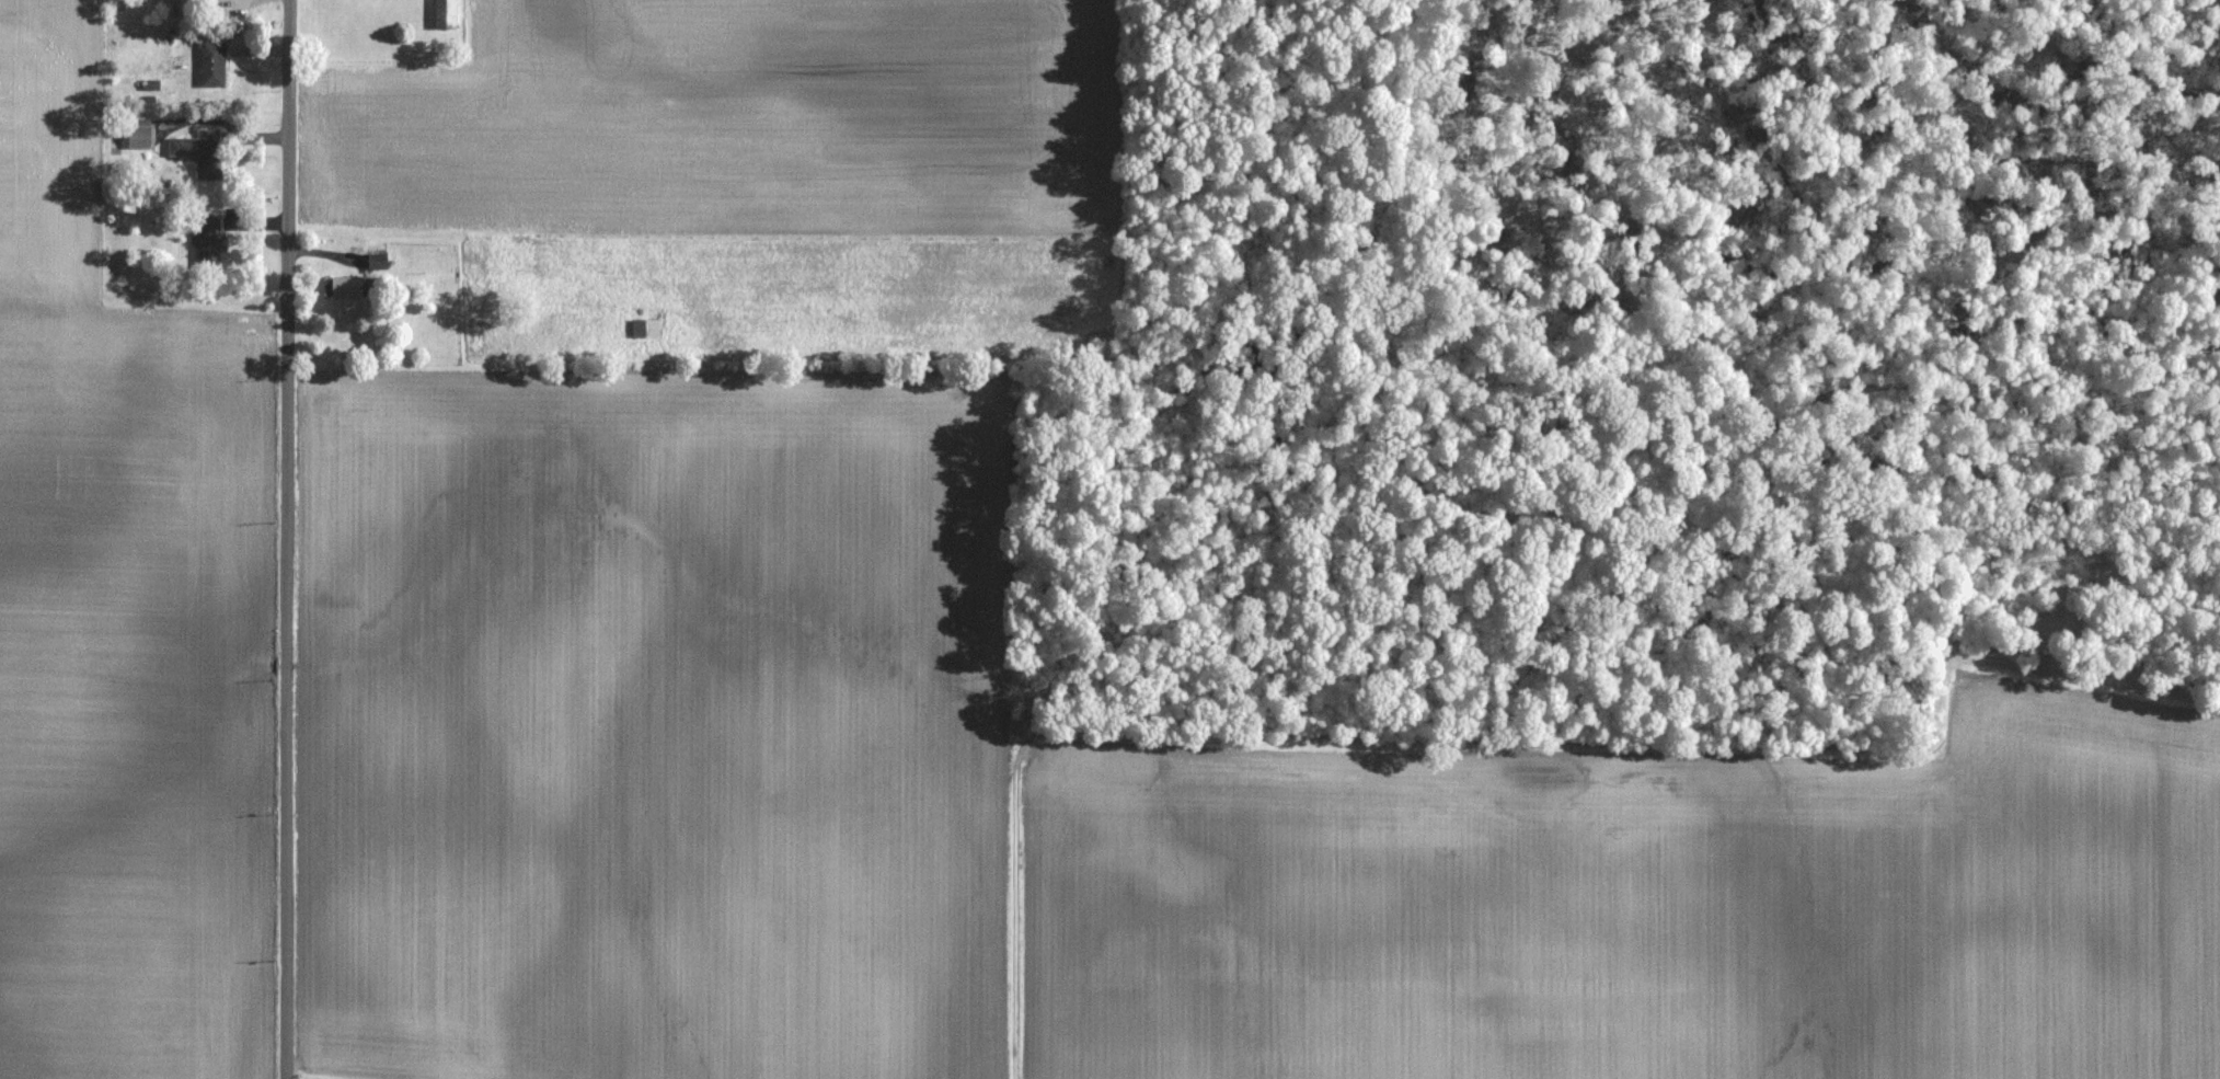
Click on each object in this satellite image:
building: (175, 7)
building: (445, 14)
building: (211, 65)
building: (138, 134)
building: (200, 152)
building: (208, 241)
building: (345, 287)
building: (645, 329)
road: (287, 539)
building: (1982, 562)

